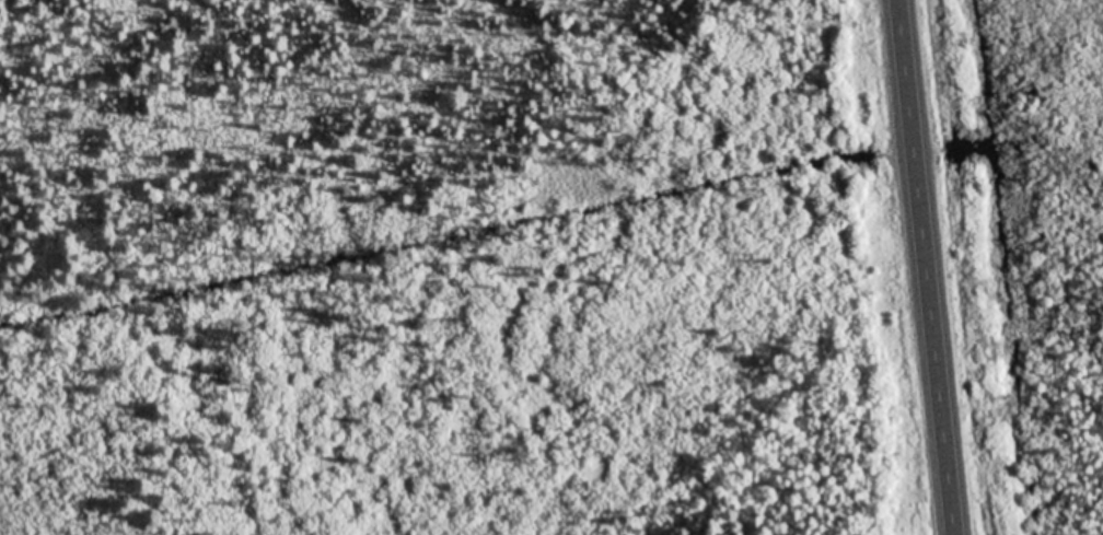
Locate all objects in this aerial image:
road: (926, 267)

